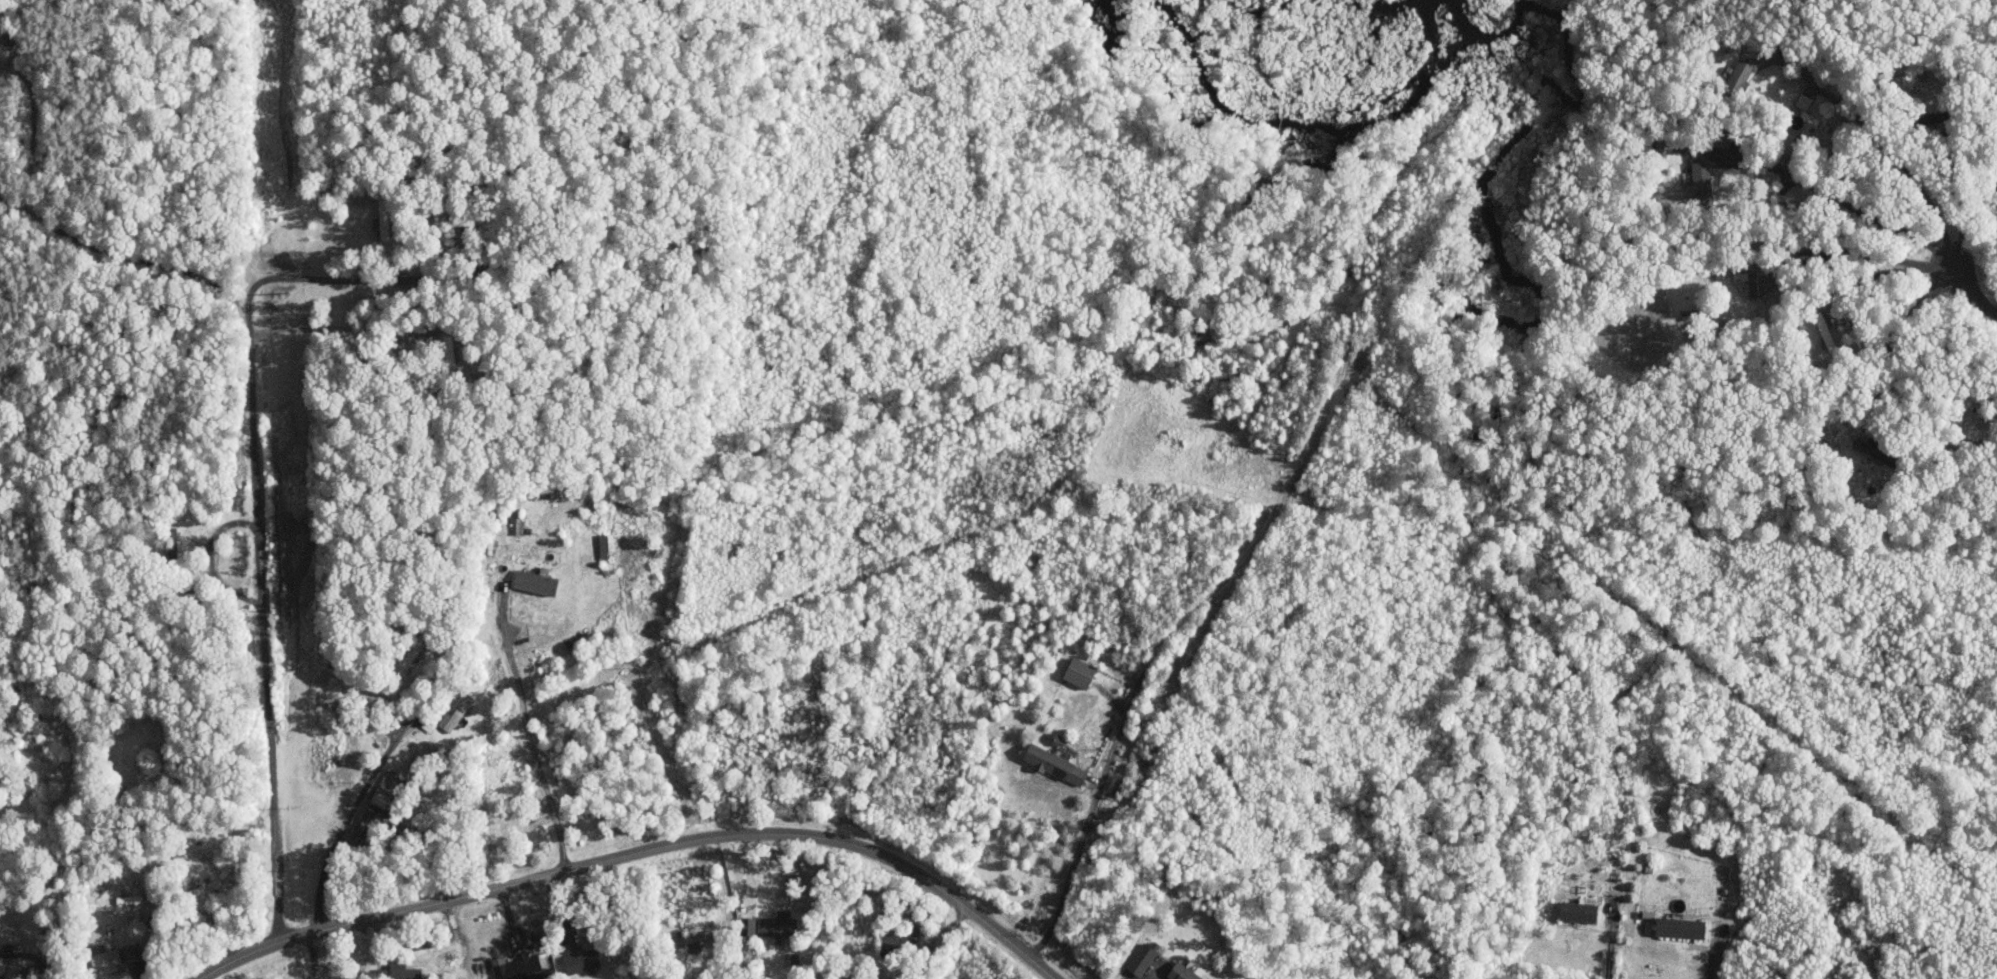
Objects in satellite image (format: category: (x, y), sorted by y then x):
building: (1741, 74)
building: (1804, 101)
road: (1900, 162)
building: (1702, 174)
road: (1863, 208)
building: (384, 218)
road: (1879, 256)
building: (1760, 284)
power tower: (284, 292)
road: (1973, 292)
road: (1896, 330)
building: (1864, 447)
building: (518, 521)
building: (605, 546)
building: (538, 582)
power tower: (297, 608)
road: (263, 617)
building: (1082, 672)
building: (456, 713)
building: (429, 724)
road: (528, 734)
building: (1057, 763)
road: (369, 783)
building: (388, 789)
road: (1089, 819)
road: (639, 852)
power tower: (309, 867)
building: (207, 887)
building: (1581, 911)
building: (780, 926)
building: (1682, 927)
building: (694, 937)
road: (1610, 943)
road: (1714, 954)
building: (106, 957)
building: (1143, 958)
building: (582, 959)
road: (38, 962)
building: (519, 967)
building: (3, 970)
building: (400, 972)
building: (1184, 972)

